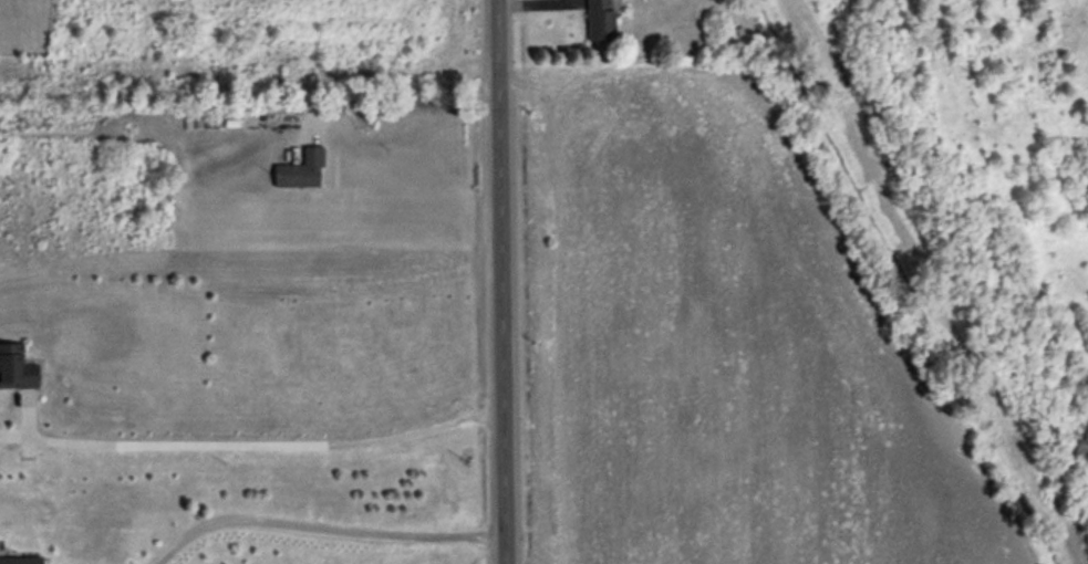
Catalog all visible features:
building: (598, 20)
road: (377, 69)
building: (299, 171)
road: (500, 282)
building: (15, 368)
road: (257, 439)
road: (317, 522)
building: (20, 561)

